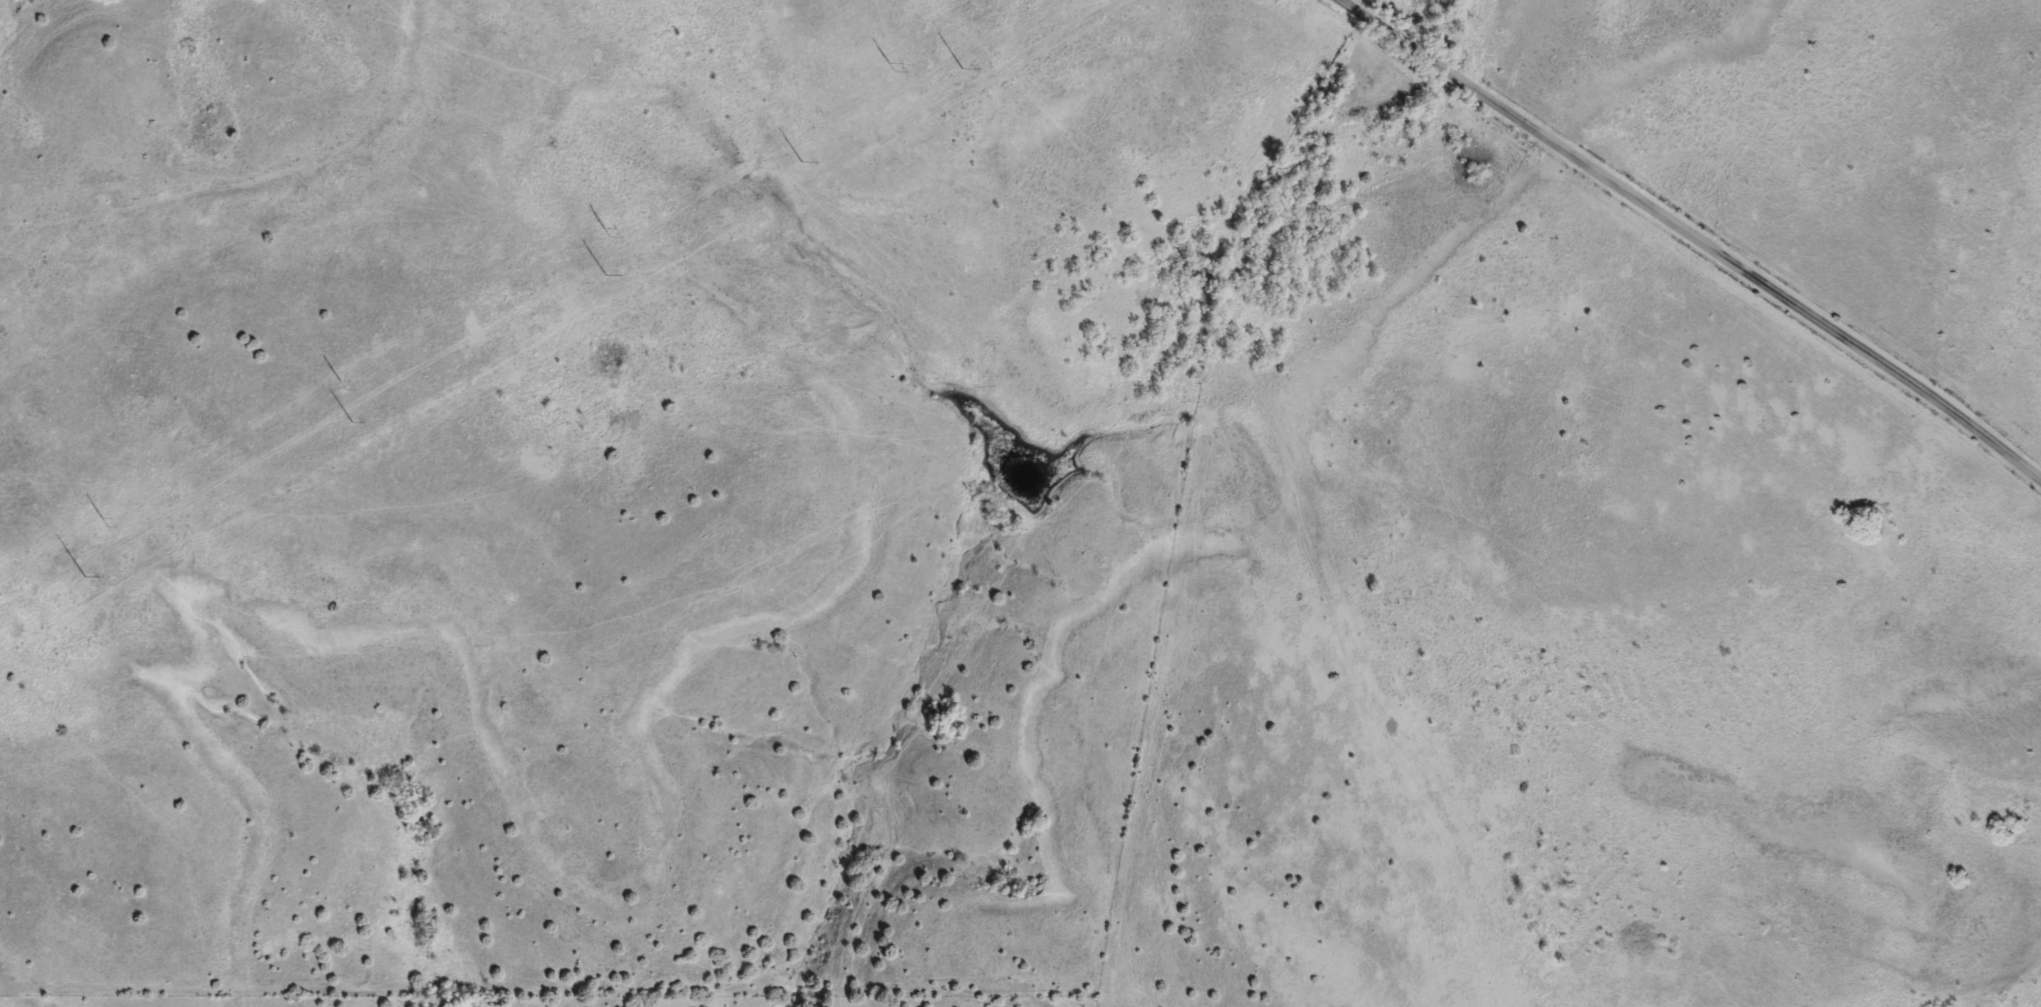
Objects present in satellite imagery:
road: (1695, 233)
airport: (1897, 994)

